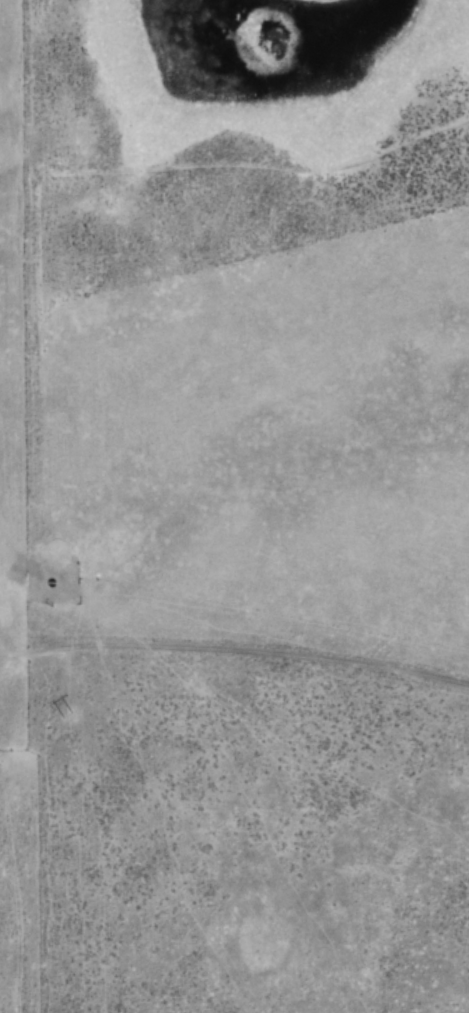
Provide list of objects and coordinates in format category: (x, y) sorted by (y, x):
road: (234, 721)
power tower: (62, 725)

